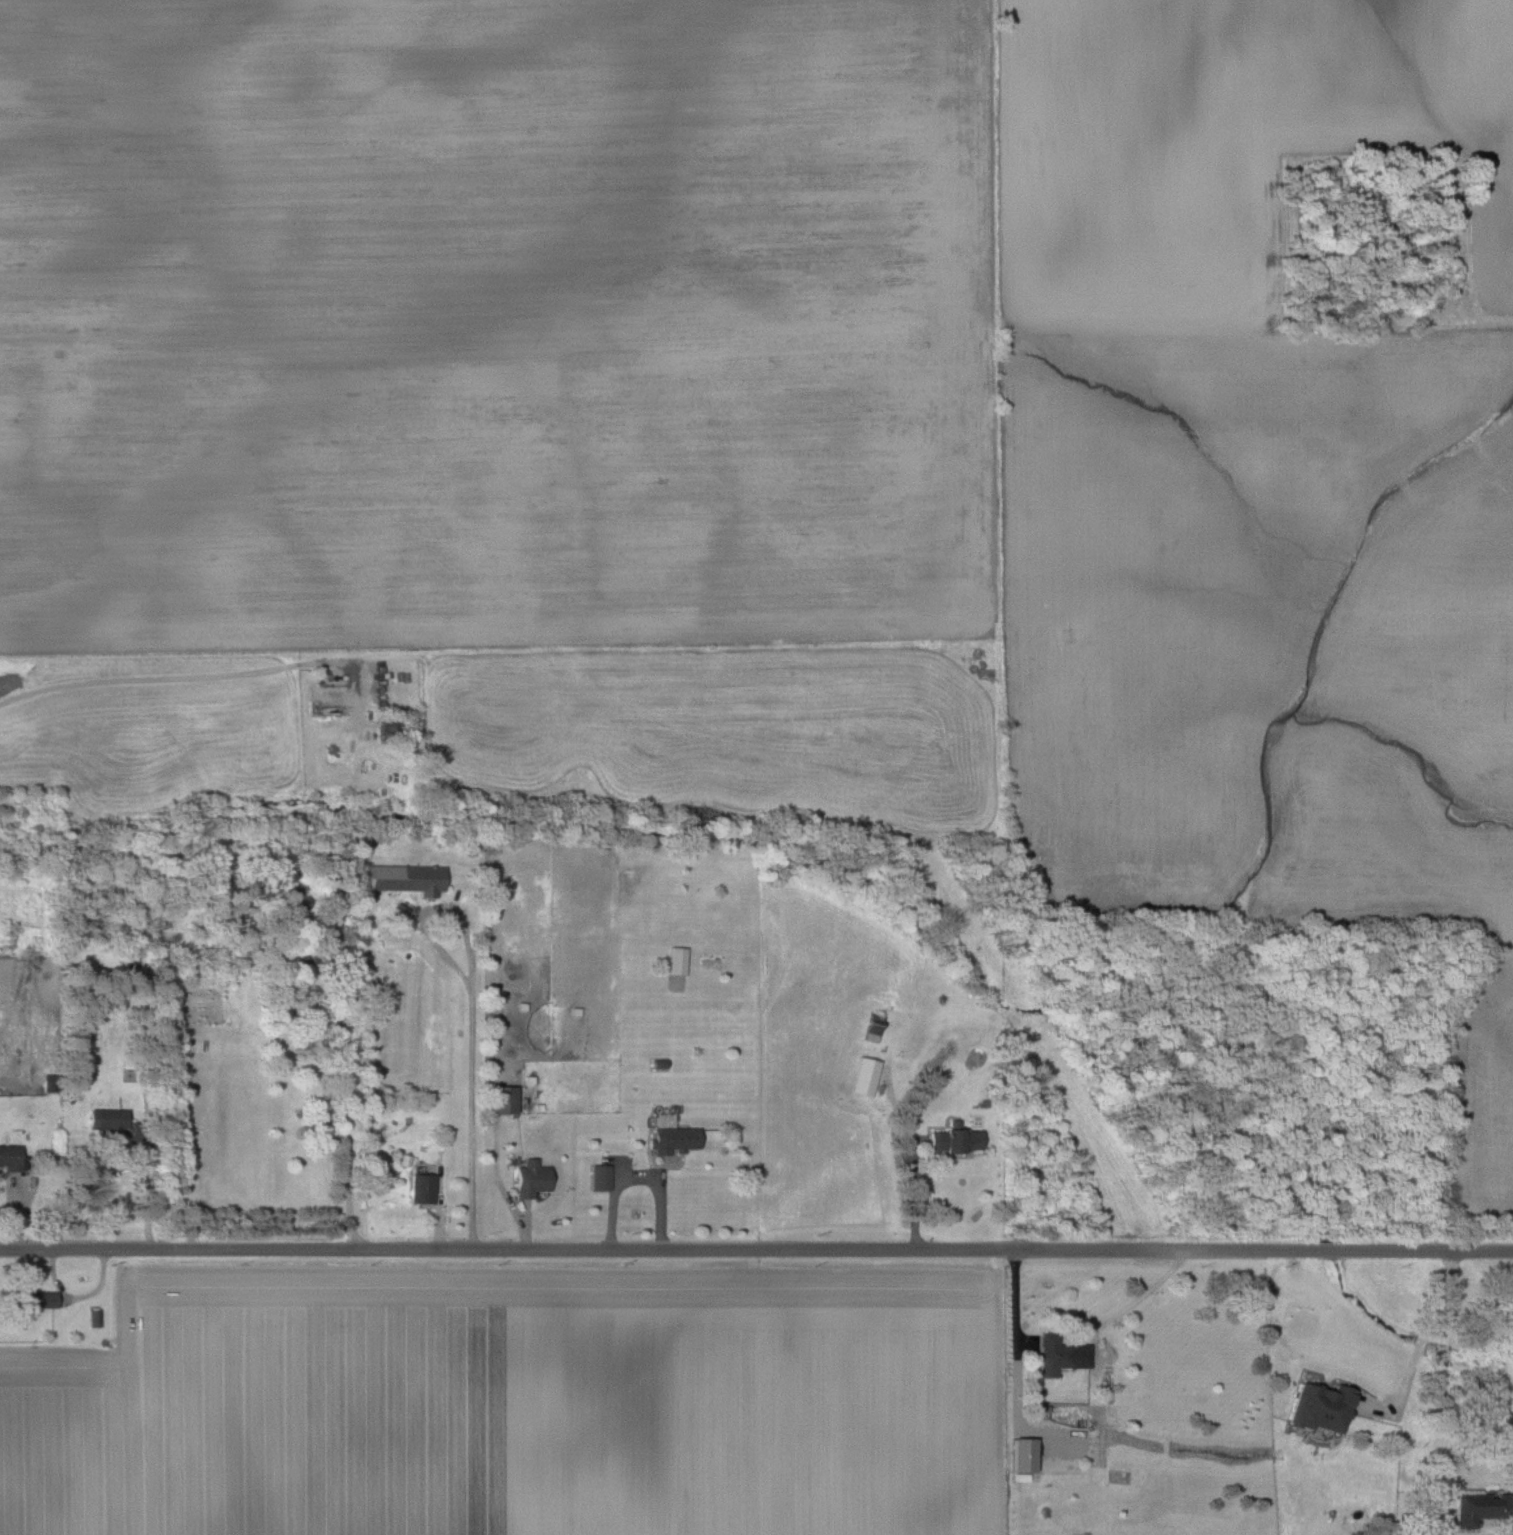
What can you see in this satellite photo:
road: (184, 677)
building: (332, 698)
building: (404, 877)
building: (288, 893)
building: (677, 960)
road: (472, 1019)
building: (873, 1027)
road: (345, 1071)
building: (865, 1075)
building: (49, 1082)
building: (502, 1099)
building: (111, 1122)
building: (956, 1138)
building: (673, 1139)
building: (11, 1157)
building: (600, 1176)
road: (637, 1177)
building: (531, 1178)
building: (422, 1187)
road: (910, 1187)
road: (756, 1247)
building: (35, 1297)
road: (1018, 1307)
road: (1416, 1337)
building: (1055, 1354)
road: (1484, 1402)
building: (1321, 1406)
building: (1024, 1454)
building: (1480, 1507)

